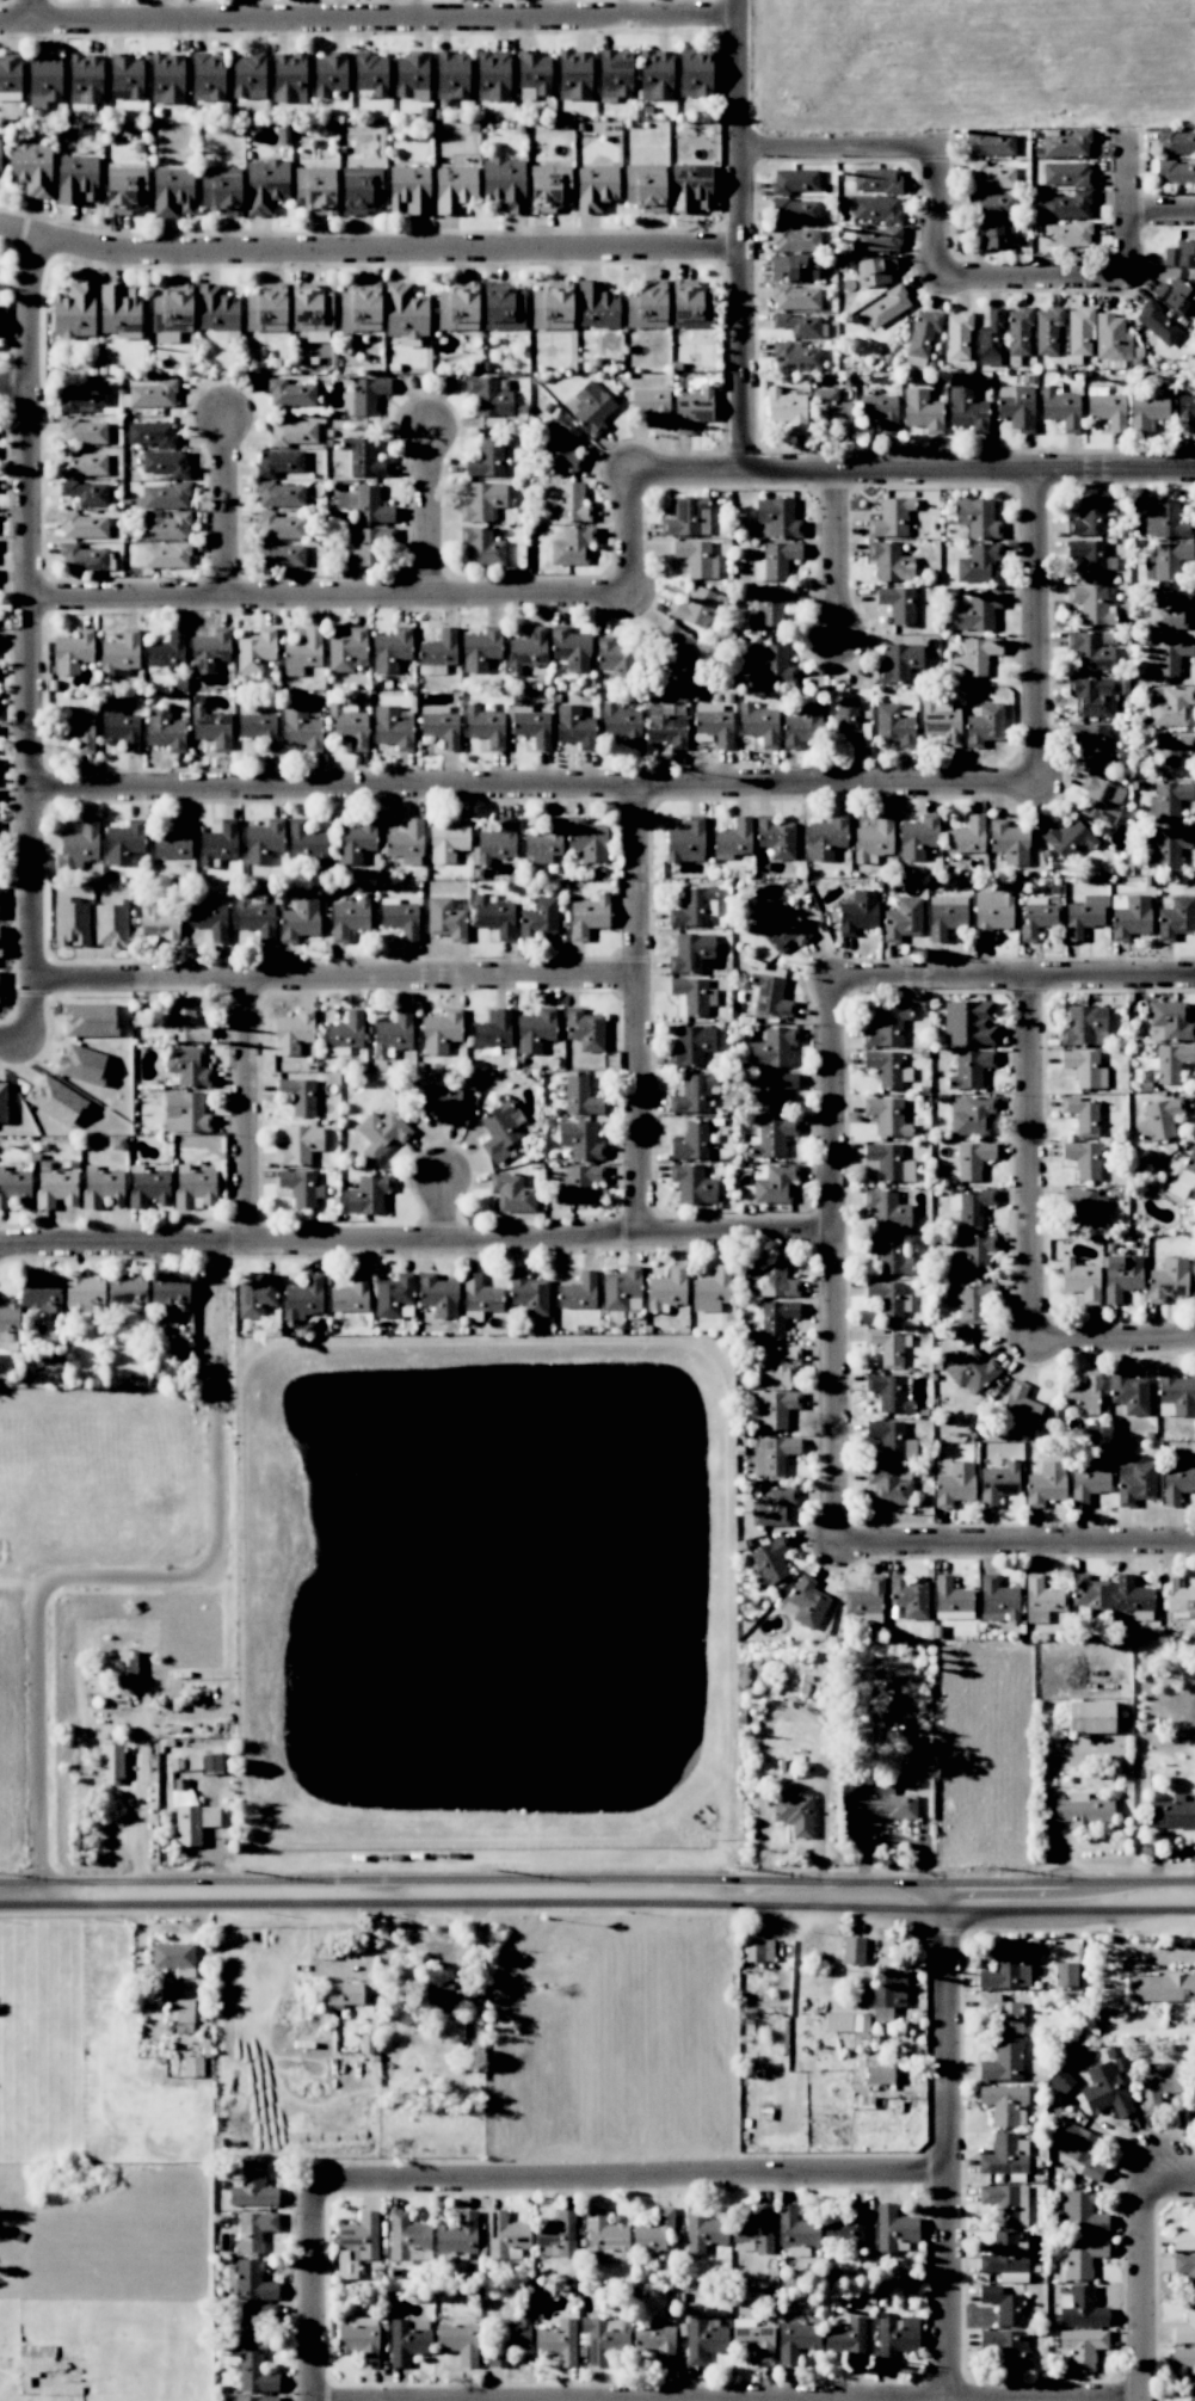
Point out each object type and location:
road: (33, 11)
road: (369, 19)
building: (85, 67)
building: (328, 73)
building: (370, 73)
building: (534, 73)
building: (614, 73)
building: (695, 73)
building: (574, 74)
building: (655, 74)
building: (10, 75)
building: (451, 75)
building: (492, 75)
building: (207, 76)
building: (248, 76)
building: (289, 76)
building: (411, 76)
building: (166, 78)
building: (125, 79)
building: (43, 80)
building: (1176, 142)
building: (991, 143)
building: (1066, 144)
road: (839, 150)
building: (31, 167)
building: (1176, 173)
building: (1066, 174)
building: (990, 176)
building: (75, 179)
building: (795, 180)
building: (876, 180)
building: (504, 183)
building: (265, 185)
building: (596, 186)
building: (454, 187)
building: (549, 187)
building: (645, 187)
building: (124, 190)
building: (408, 190)
building: (362, 191)
building: (172, 192)
building: (220, 192)
building: (313, 192)
building: (991, 204)
building: (1067, 205)
road: (1134, 207)
building: (876, 209)
building: (795, 210)
road: (1164, 213)
road: (940, 216)
building: (1067, 234)
building: (993, 235)
road: (743, 236)
building: (795, 239)
building: (877, 239)
road: (370, 252)
building: (1179, 254)
building: (794, 267)
building: (874, 270)
road: (1036, 281)
building: (1176, 296)
building: (795, 297)
building: (692, 303)
building: (596, 306)
building: (885, 307)
building: (552, 308)
building: (645, 308)
building: (216, 309)
building: (358, 309)
building: (503, 309)
building: (74, 310)
building: (312, 310)
building: (118, 312)
building: (171, 312)
building: (405, 312)
building: (1157, 322)
building: (797, 324)
building: (1047, 331)
building: (1018, 332)
building: (1079, 332)
building: (922, 335)
building: (957, 335)
building: (1109, 337)
building: (990, 340)
building: (795, 357)
road: (16, 390)
building: (290, 393)
building: (153, 394)
building: (366, 394)
building: (487, 395)
building: (81, 396)
building: (652, 405)
building: (590, 406)
building: (966, 407)
building: (1016, 407)
building: (1146, 407)
building: (1060, 408)
building: (690, 410)
building: (787, 410)
building: (830, 410)
building: (1108, 410)
building: (880, 411)
building: (922, 411)
building: (1185, 413)
building: (82, 431)
building: (292, 432)
building: (150, 433)
building: (562, 445)
building: (363, 457)
building: (485, 458)
building: (278, 462)
building: (81, 463)
building: (166, 463)
road: (913, 472)
building: (85, 492)
building: (279, 494)
building: (165, 495)
building: (482, 501)
building: (567, 501)
building: (370, 505)
road: (230, 507)
road: (432, 511)
building: (686, 517)
building: (776, 517)
building: (977, 517)
building: (1090, 517)
building: (891, 518)
building: (84, 525)
building: (278, 525)
building: (166, 527)
road: (635, 535)
building: (369, 546)
building: (572, 546)
building: (481, 547)
building: (281, 554)
building: (165, 555)
road: (32, 556)
road: (843, 556)
building: (1089, 556)
building: (81, 558)
building: (696, 558)
building: (777, 559)
building: (889, 561)
building: (1166, 561)
building: (978, 562)
road: (335, 593)
building: (898, 604)
building: (1091, 604)
building: (696, 607)
building: (770, 607)
building: (975, 610)
building: (1170, 610)
road: (1042, 629)
building: (529, 647)
building: (438, 648)
building: (480, 648)
building: (571, 648)
building: (167, 649)
building: (255, 649)
building: (303, 649)
building: (345, 649)
building: (390, 649)
building: (209, 651)
building: (678, 651)
building: (1091, 651)
building: (73, 652)
building: (119, 653)
building: (978, 654)
building: (1170, 655)
building: (615, 658)
building: (898, 663)
building: (769, 665)
building: (1091, 696)
building: (1169, 704)
building: (941, 720)
building: (621, 724)
building: (714, 724)
building: (758, 724)
building: (846, 724)
building: (802, 725)
building: (894, 725)
building: (985, 725)
building: (119, 726)
building: (441, 726)
building: (485, 726)
building: (531, 726)
building: (574, 726)
building: (76, 727)
building: (347, 727)
building: (393, 727)
building: (210, 728)
building: (258, 728)
building: (666, 728)
building: (164, 729)
building: (301, 729)
building: (1092, 741)
building: (1171, 753)
road: (541, 787)
building: (1099, 799)
building: (1168, 800)
building: (966, 836)
building: (775, 837)
building: (917, 837)
building: (734, 838)
building: (826, 838)
building: (1065, 838)
building: (586, 839)
building: (874, 839)
building: (263, 841)
building: (356, 841)
building: (448, 841)
building: (686, 841)
building: (124, 842)
building: (174, 842)
building: (306, 842)
building: (497, 842)
building: (1009, 842)
building: (406, 843)
building: (543, 843)
building: (78, 845)
building: (1168, 848)
building: (691, 907)
building: (857, 911)
building: (991, 913)
building: (589, 915)
building: (1037, 916)
building: (1083, 916)
building: (255, 917)
building: (349, 917)
building: (1131, 917)
building: (538, 918)
building: (945, 918)
building: (1176, 918)
building: (209, 919)
building: (298, 919)
building: (400, 919)
building: (445, 919)
building: (903, 919)
building: (158, 921)
building: (70, 922)
building: (110, 925)
building: (781, 929)
building: (690, 952)
road: (30, 966)
road: (392, 978)
road: (1014, 978)
road: (86, 981)
building: (691, 995)
building: (770, 996)
road: (642, 1012)
building: (88, 1018)
building: (1169, 1022)
building: (968, 1023)
building: (184, 1024)
building: (1084, 1026)
building: (886, 1027)
building: (585, 1029)
building: (493, 1030)
building: (535, 1030)
building: (292, 1032)
building: (345, 1032)
building: (441, 1032)
building: (393, 1033)
building: (691, 1045)
building: (774, 1047)
building: (1171, 1061)
building: (186, 1065)
building: (885, 1067)
building: (969, 1069)
building: (1084, 1069)
building: (774, 1089)
building: (694, 1094)
building: (298, 1095)
building: (580, 1096)
building: (442, 1101)
building: (2, 1102)
building: (56, 1102)
road: (250, 1112)
building: (185, 1113)
building: (971, 1115)
building: (1082, 1115)
building: (887, 1116)
building: (1158, 1119)
building: (500, 1129)
building: (381, 1133)
building: (772, 1137)
building: (579, 1139)
building: (691, 1141)
building: (298, 1145)
road: (1034, 1158)
building: (1083, 1158)
building: (972, 1159)
building: (886, 1162)
building: (579, 1183)
building: (692, 1184)
building: (772, 1184)
building: (103, 1187)
building: (301, 1187)
building: (14, 1188)
building: (148, 1188)
building: (195, 1188)
building: (511, 1193)
building: (366, 1194)
building: (1084, 1207)
road: (449, 1208)
building: (973, 1208)
building: (886, 1209)
road: (415, 1244)
building: (888, 1255)
building: (972, 1255)
road: (833, 1262)
building: (775, 1279)
building: (1121, 1279)
building: (1079, 1280)
building: (1168, 1280)
building: (622, 1289)
building: (710, 1289)
building: (84, 1292)
building: (127, 1292)
building: (578, 1292)
building: (41, 1293)
building: (529, 1293)
building: (480, 1294)
building: (170, 1295)
building: (255, 1295)
building: (393, 1295)
building: (438, 1295)
building: (349, 1297)
building: (886, 1298)
building: (303, 1299)
building: (969, 1300)
building: (775, 1318)
road: (1115, 1337)
building: (887, 1347)
building: (776, 1367)
building: (972, 1371)
building: (888, 1392)
building: (1082, 1392)
building: (1128, 1392)
building: (1175, 1395)
building: (1018, 1405)
building: (775, 1410)
building: (891, 1439)
building: (772, 1455)
building: (1089, 1482)
building: (1134, 1482)
building: (1177, 1482)
building: (998, 1483)
building: (954, 1484)
building: (1045, 1484)
building: (888, 1486)
building: (772, 1507)
road: (1018, 1546)
building: (770, 1560)
road: (137, 1582)
road: (26, 1588)
building: (1177, 1594)
building: (1091, 1595)
building: (908, 1596)
building: (864, 1597)
building: (998, 1597)
building: (1133, 1597)
building: (950, 1599)
building: (1041, 1599)
building: (807, 1602)
building: (125, 1664)
road: (789, 1710)
building: (1090, 1717)
building: (917, 1762)
building: (111, 1763)
building: (881, 1802)
building: (791, 1810)
building: (1082, 1810)
building: (1171, 1812)
building: (190, 1816)
road: (140, 1821)
road: (597, 1879)
road: (597, 1902)
building: (757, 1948)
building: (852, 1950)
building: (172, 1956)
building: (1006, 1969)
building: (1065, 1974)
building: (1162, 1988)
building: (888, 1991)
building: (343, 1994)
building: (443, 1995)
building: (1002, 2012)
building: (181, 2015)
building: (844, 2021)
building: (1002, 2061)
building: (879, 2075)
building: (1156, 2087)
building: (1104, 2091)
building: (1003, 2103)
road: (945, 2141)
building: (1078, 2149)
building: (1004, 2155)
road: (629, 2178)
building: (252, 2187)
road: (1171, 2187)
building: (1005, 2204)
building: (1080, 2212)
building: (848, 2225)
building: (754, 2228)
building: (893, 2228)
building: (254, 2229)
building: (795, 2229)
building: (653, 2230)
building: (702, 2230)
building: (558, 2233)
building: (1185, 2233)
building: (505, 2234)
building: (457, 2235)
building: (359, 2236)
building: (407, 2237)
building: (604, 2237)
building: (1004, 2254)
building: (1082, 2257)
building: (1185, 2271)
building: (252, 2282)
road: (310, 2290)
road: (1145, 2294)
building: (1003, 2304)
building: (258, 2323)
building: (1185, 2326)
building: (511, 2334)
building: (895, 2337)
building: (604, 2338)
building: (703, 2339)
building: (795, 2340)
building: (848, 2340)
building: (359, 2341)
building: (458, 2341)
building: (558, 2341)
building: (655, 2341)
building: (406, 2342)
building: (754, 2342)
building: (1082, 2347)
building: (1011, 2350)
building: (1185, 2362)
building: (254, 2372)
building: (254, 2399)
road: (963, 2399)

